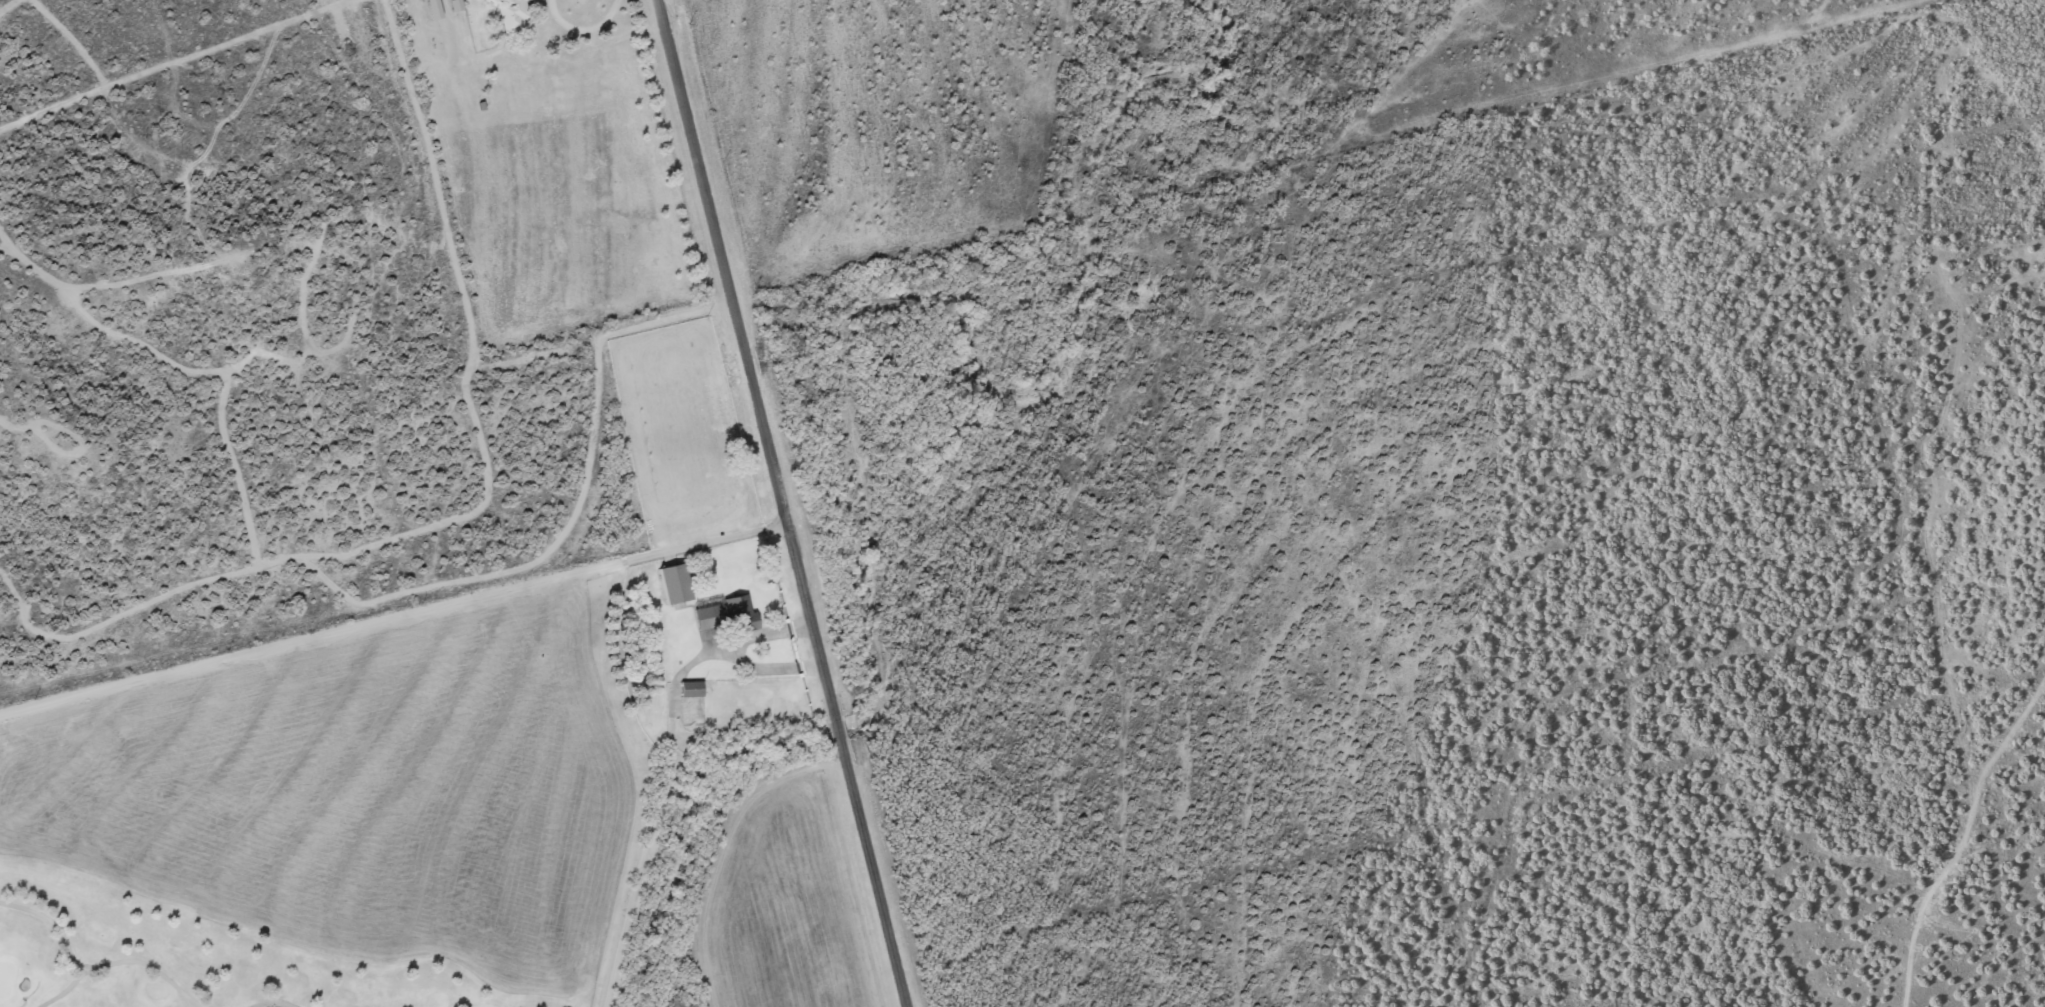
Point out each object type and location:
building: (460, 5)
building: (438, 9)
building: (516, 14)
road: (790, 503)
building: (679, 583)
building: (743, 613)
building: (695, 688)

